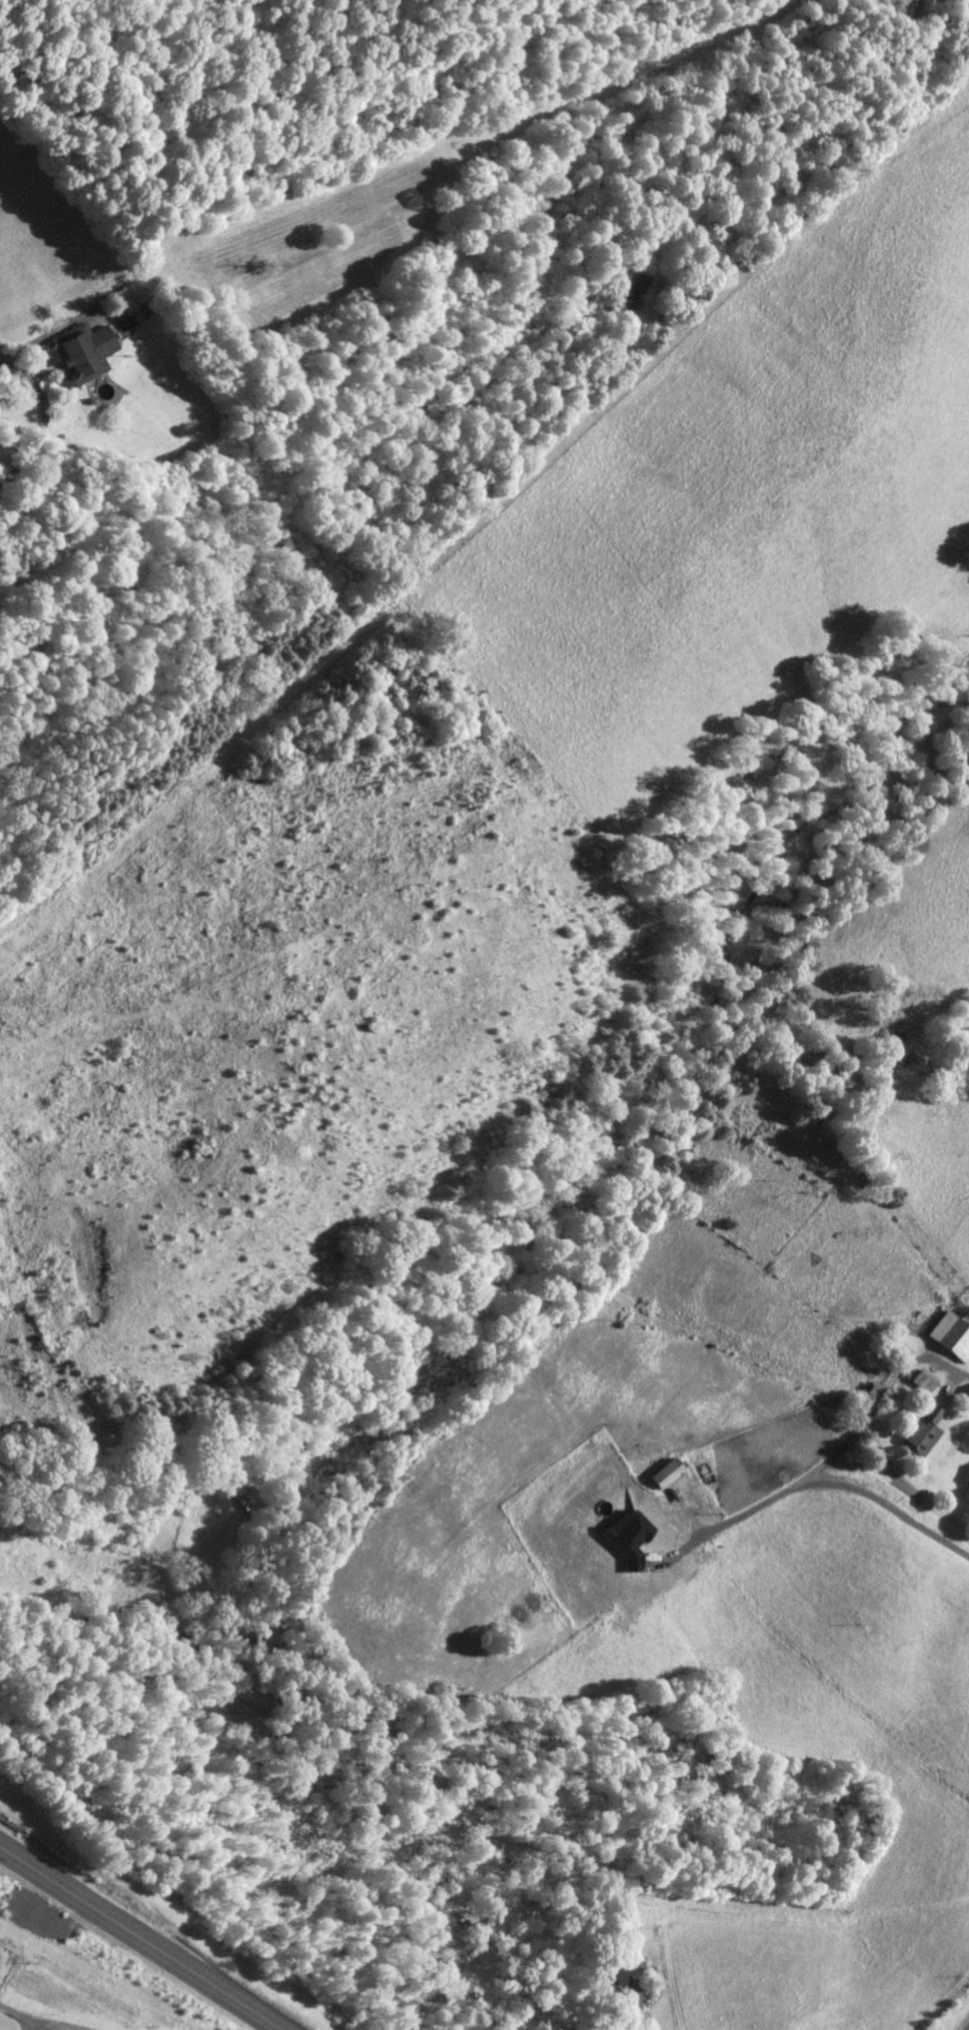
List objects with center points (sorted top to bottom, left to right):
building: (136, 306)
building: (89, 352)
building: (954, 1333)
building: (908, 1343)
building: (931, 1429)
road: (845, 1442)
building: (673, 1472)
building: (637, 1536)
road: (142, 1937)

